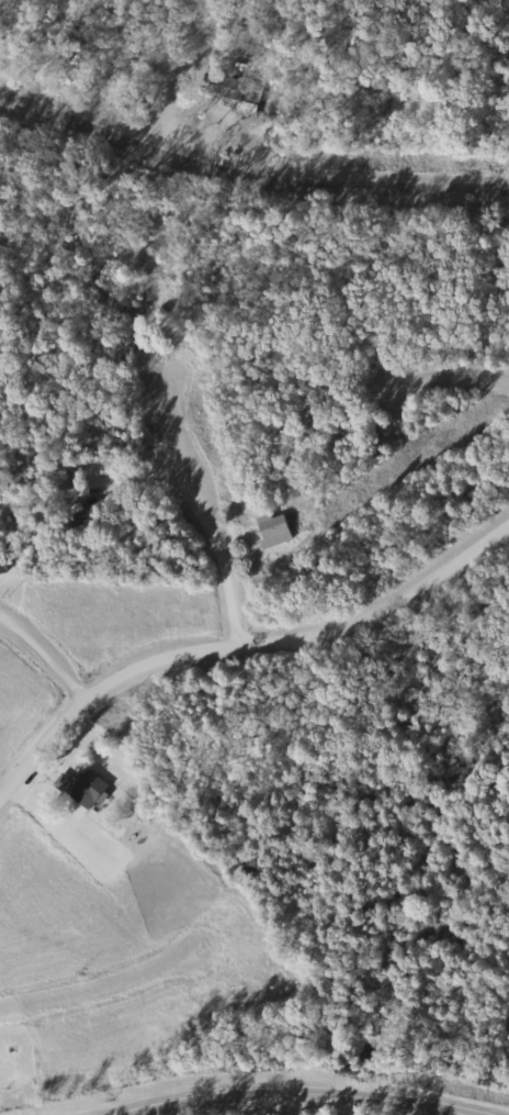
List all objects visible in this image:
building: (219, 87)
road: (246, 181)
road: (437, 388)
road: (205, 510)
building: (80, 514)
building: (270, 531)
road: (240, 645)
road: (39, 677)
building: (80, 789)
road: (310, 1093)

